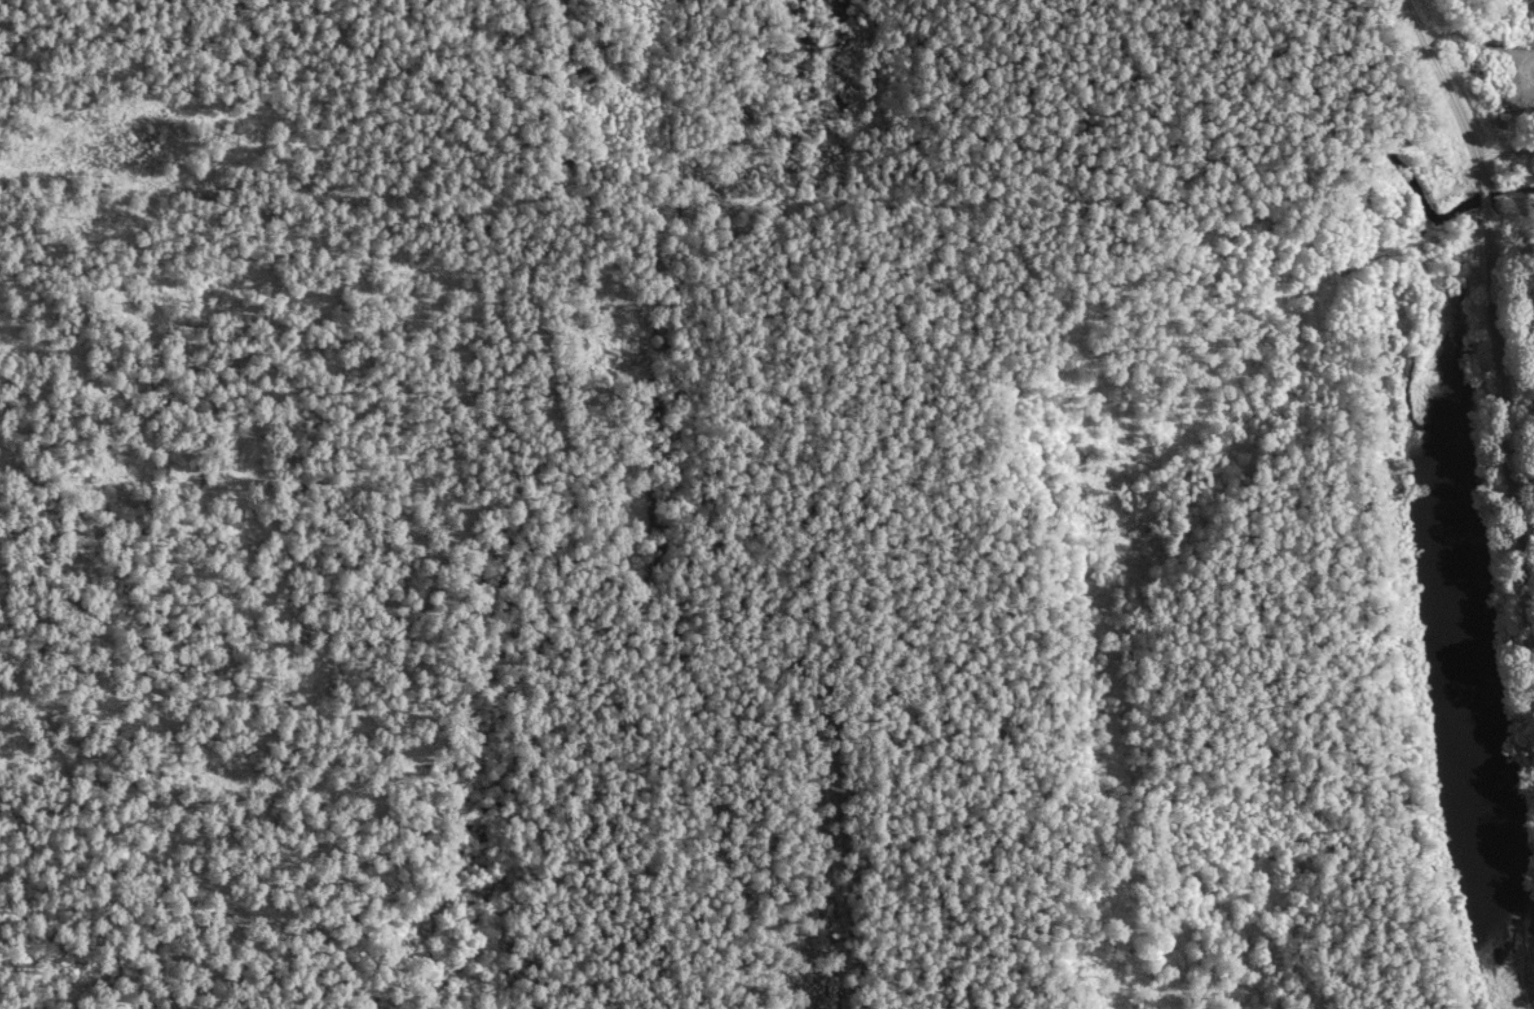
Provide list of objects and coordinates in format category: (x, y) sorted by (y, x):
road: (1468, 45)
road: (1498, 336)

